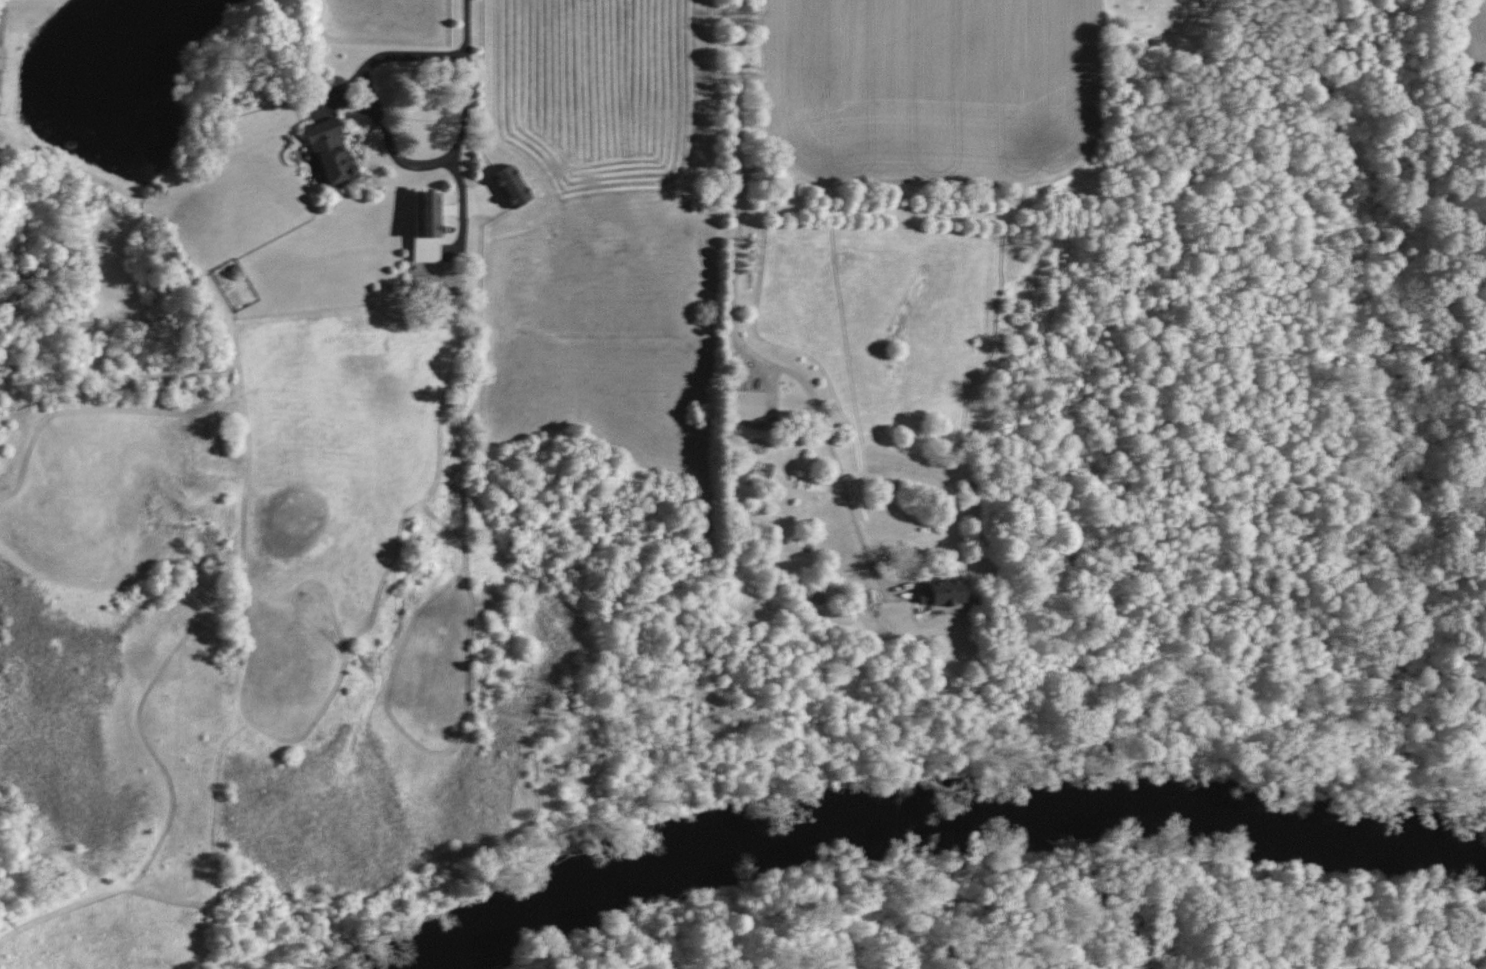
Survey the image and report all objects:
road: (1, 25)
building: (333, 150)
building: (516, 186)
building: (431, 225)
road: (734, 327)
building: (755, 405)
building: (947, 593)
river: (963, 831)

